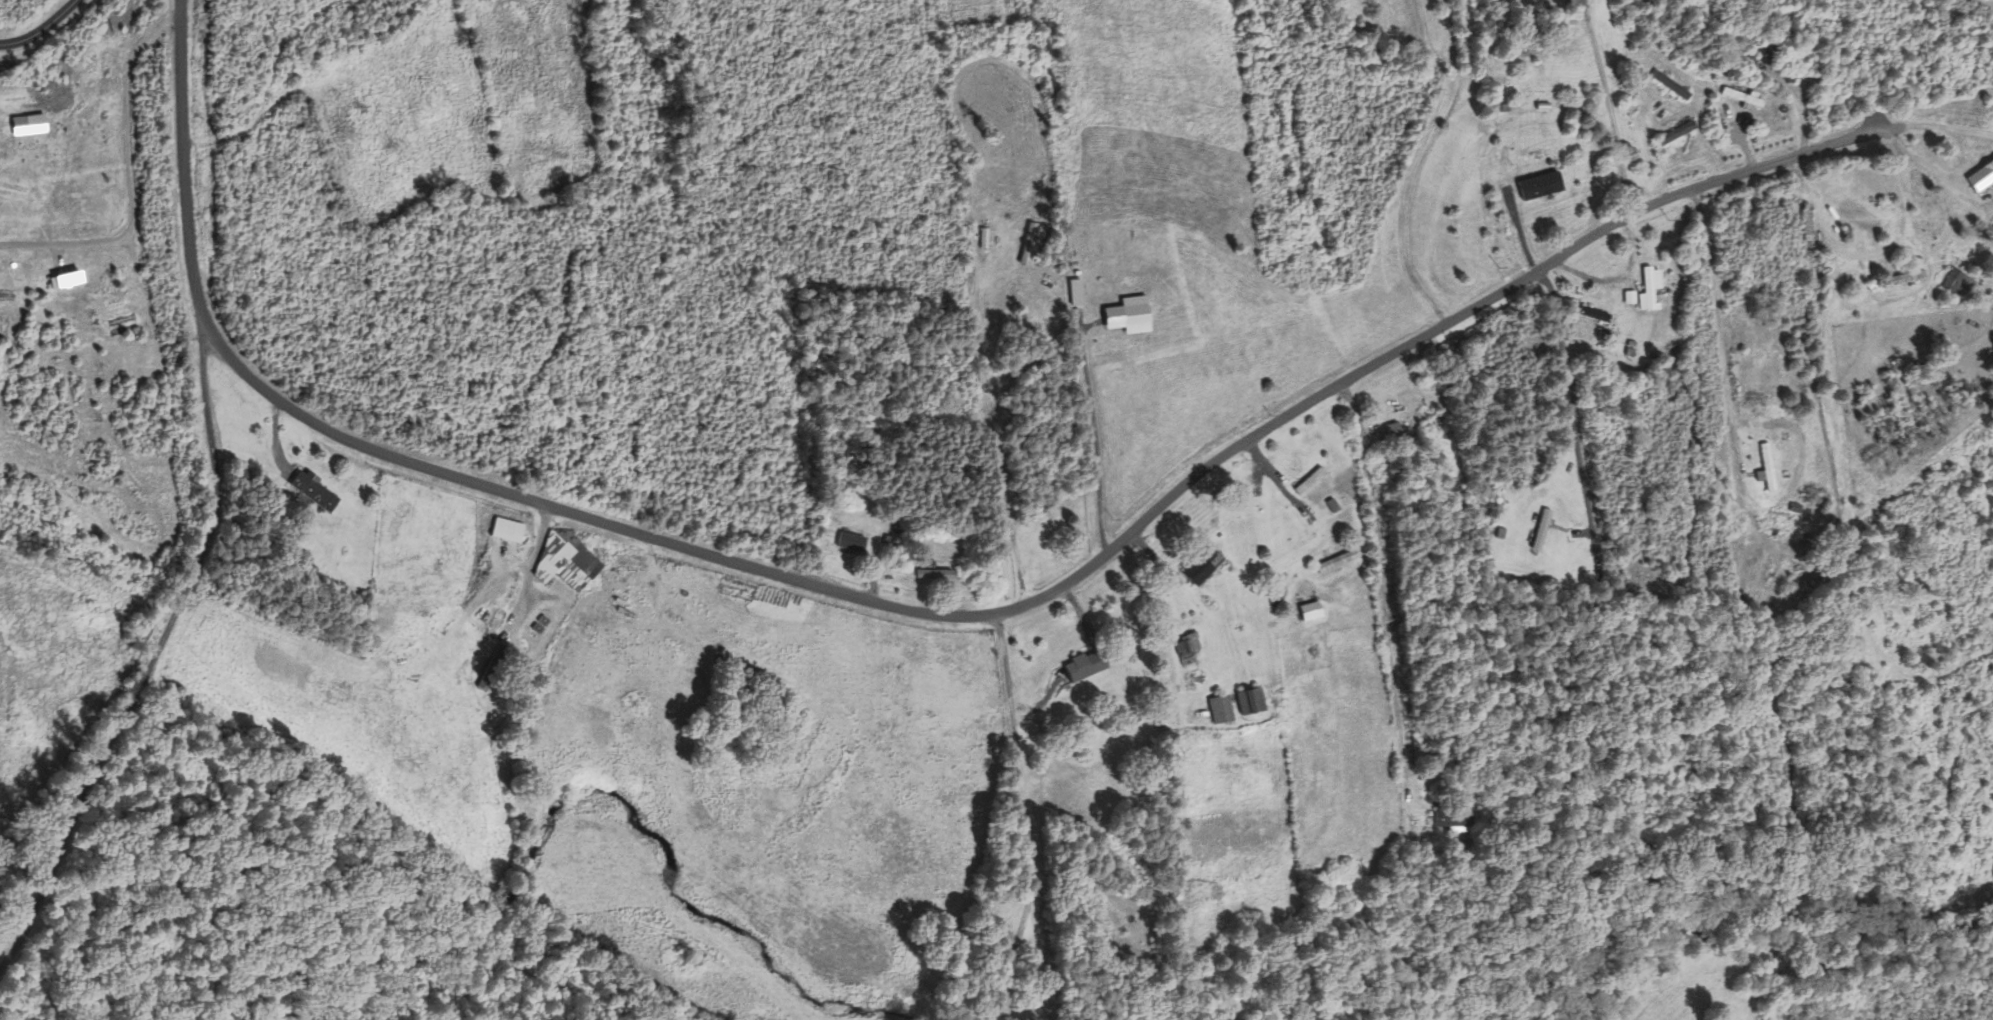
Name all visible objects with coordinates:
road: (40, 30)
building: (1743, 40)
building: (1676, 50)
building: (1671, 84)
building: (1743, 96)
road: (1610, 107)
road: (1885, 125)
road: (1944, 125)
building: (1675, 133)
road: (1416, 163)
building: (1534, 168)
road: (1936, 170)
building: (1980, 175)
road: (129, 178)
building: (1805, 222)
building: (1649, 288)
building: (1593, 314)
road: (1571, 405)
building: (1394, 431)
road: (1737, 437)
road: (1096, 440)
building: (1764, 463)
building: (1777, 470)
building: (1310, 481)
building: (313, 491)
building: (1540, 528)
building: (507, 530)
building: (850, 541)
building: (1287, 546)
building: (455, 553)
building: (565, 560)
building: (1336, 561)
building: (1199, 567)
building: (935, 574)
road: (1380, 589)
building: (1810, 592)
road: (910, 609)
building: (1187, 644)
road: (151, 658)
building: (1085, 665)
building: (490, 666)
building: (1250, 700)
building: (1220, 708)
building: (758, 739)
building: (1136, 746)
building: (1451, 818)
building: (1122, 950)

